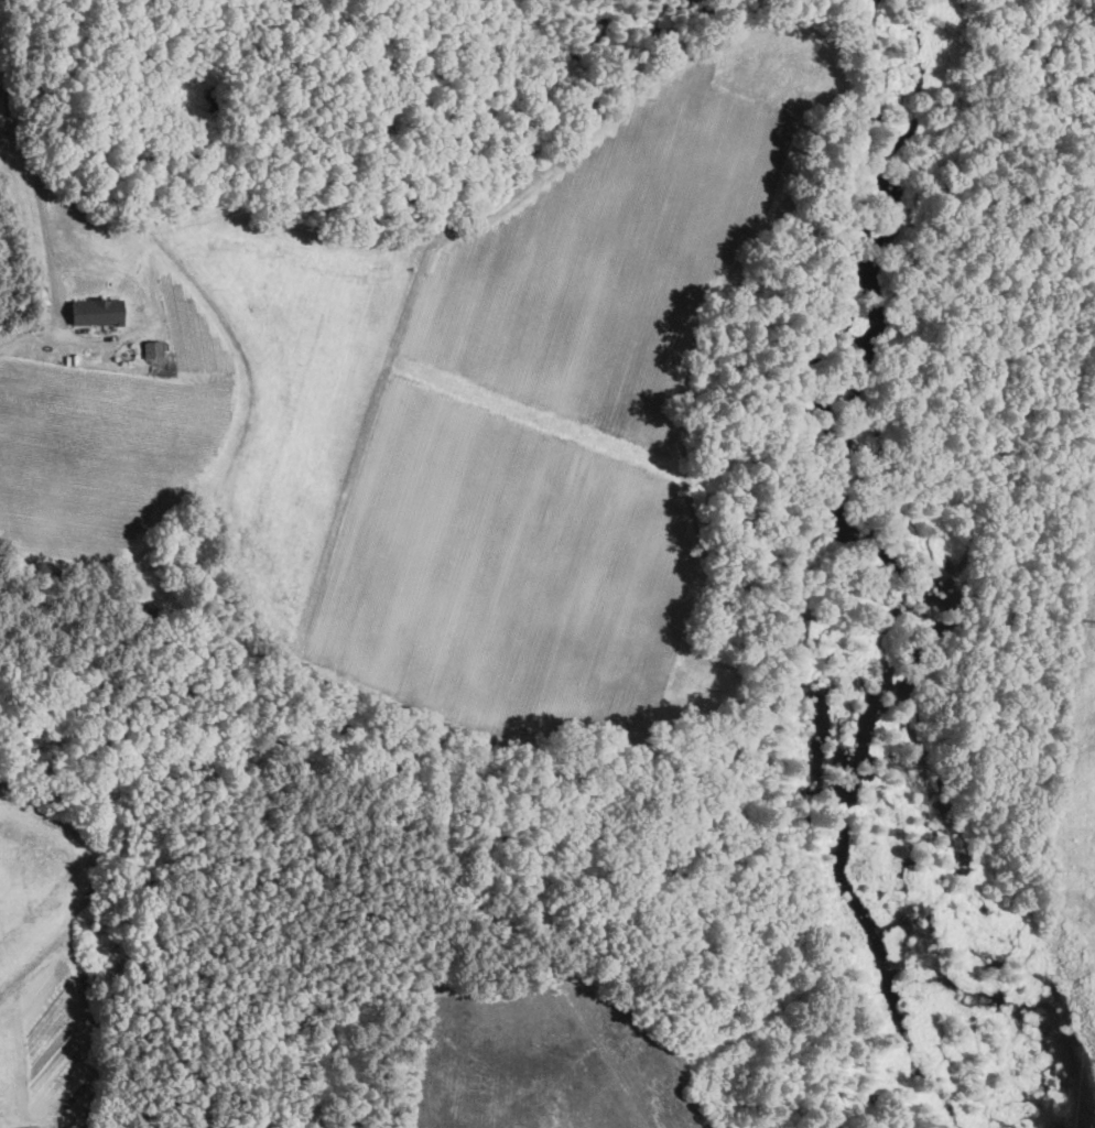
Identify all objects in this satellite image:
road: (45, 188)
building: (97, 311)
building: (152, 348)
building: (32, 1127)

